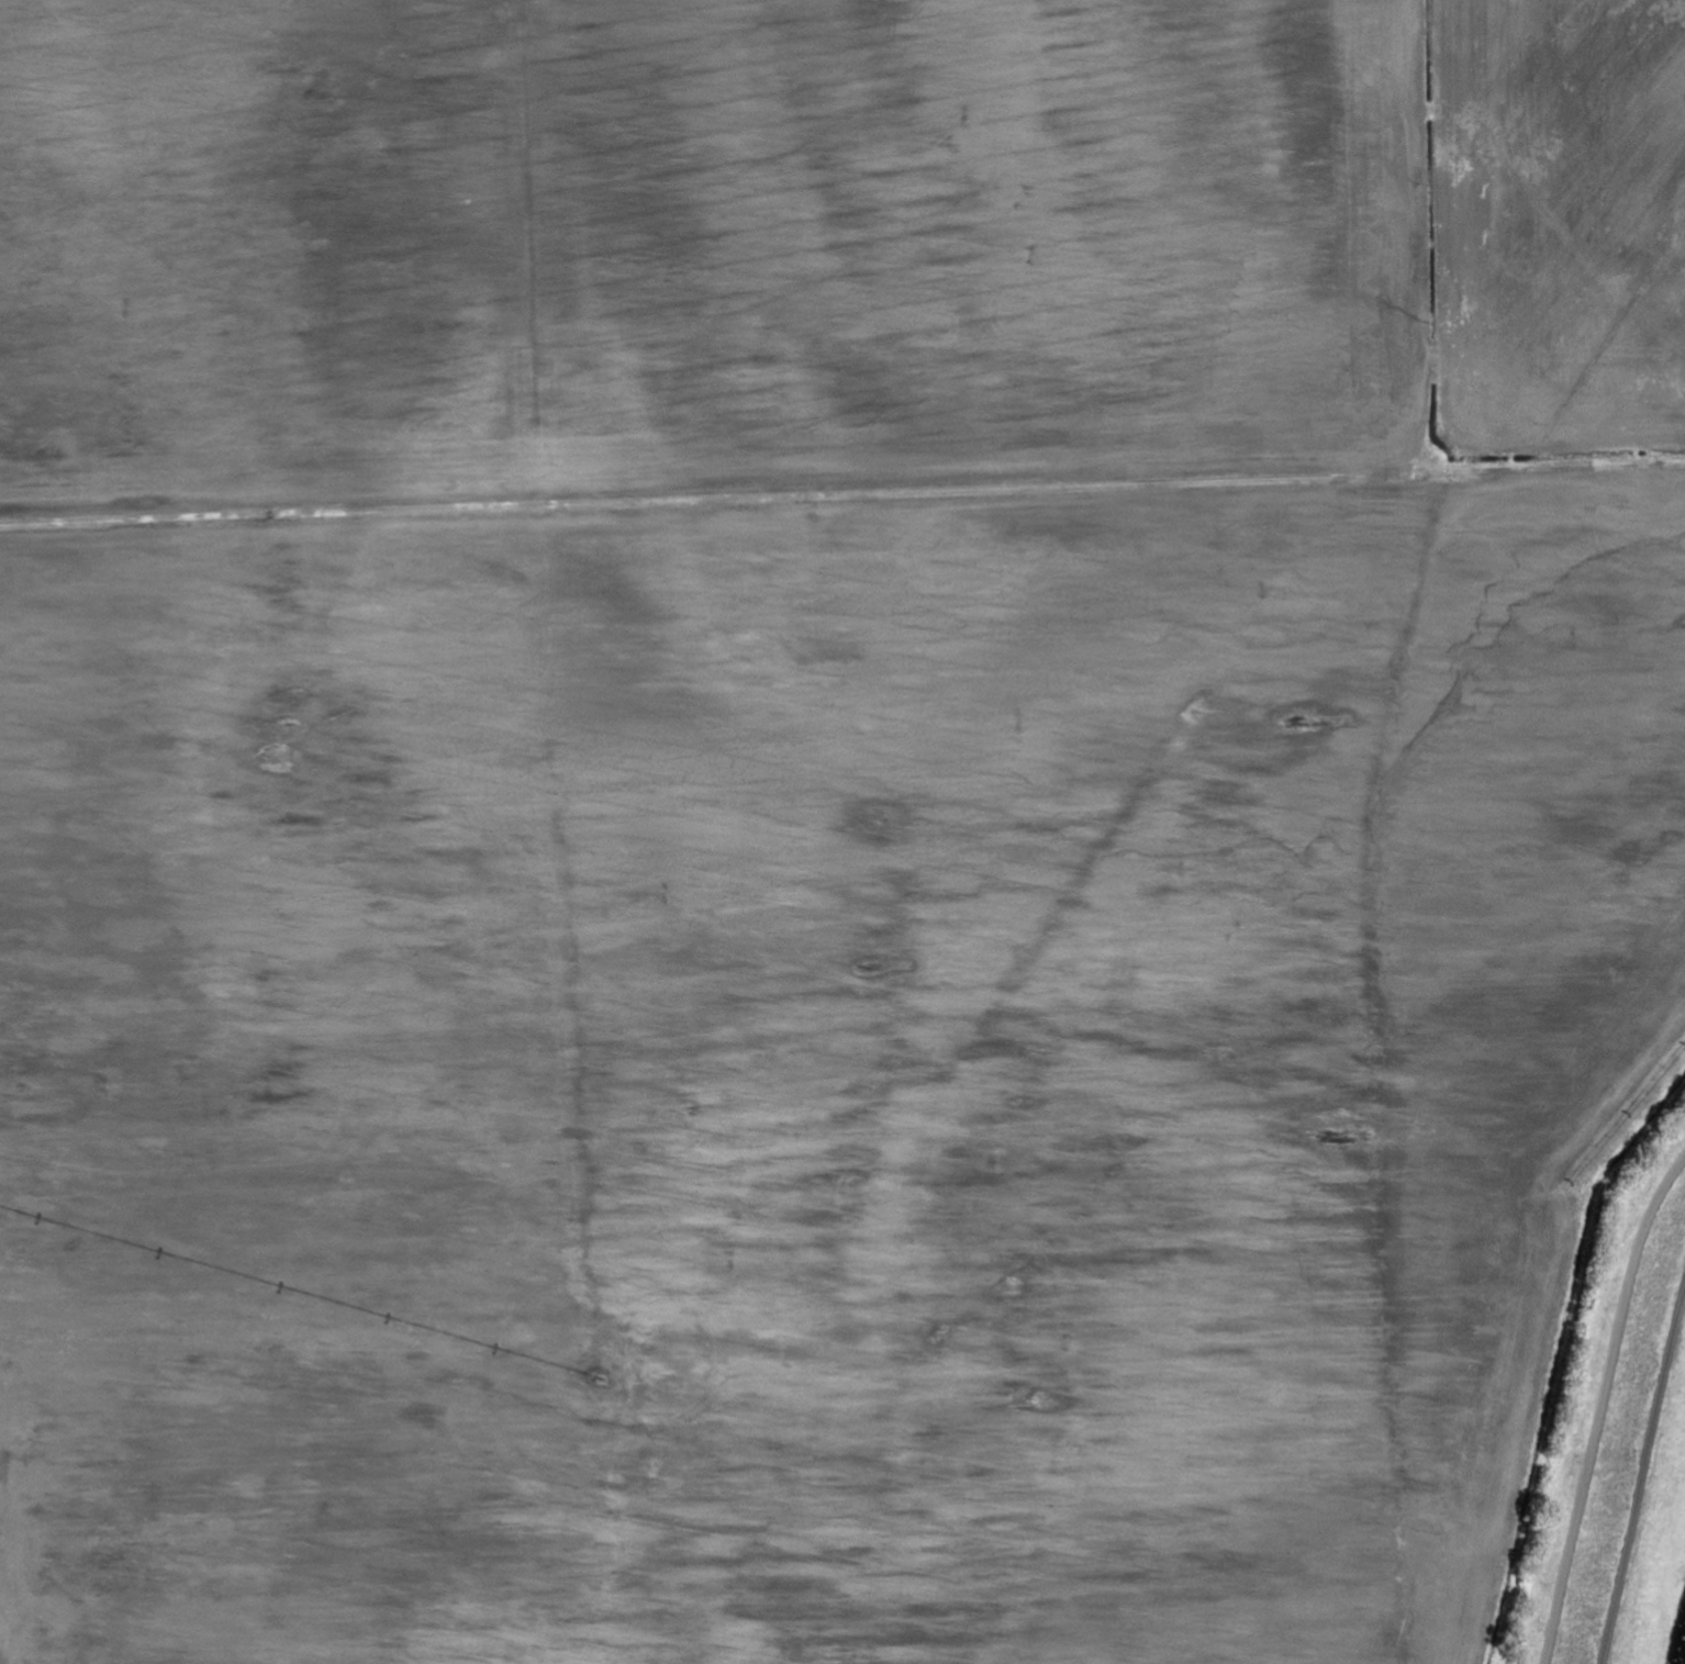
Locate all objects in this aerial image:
road: (1600, 1404)
road: (1642, 1473)

